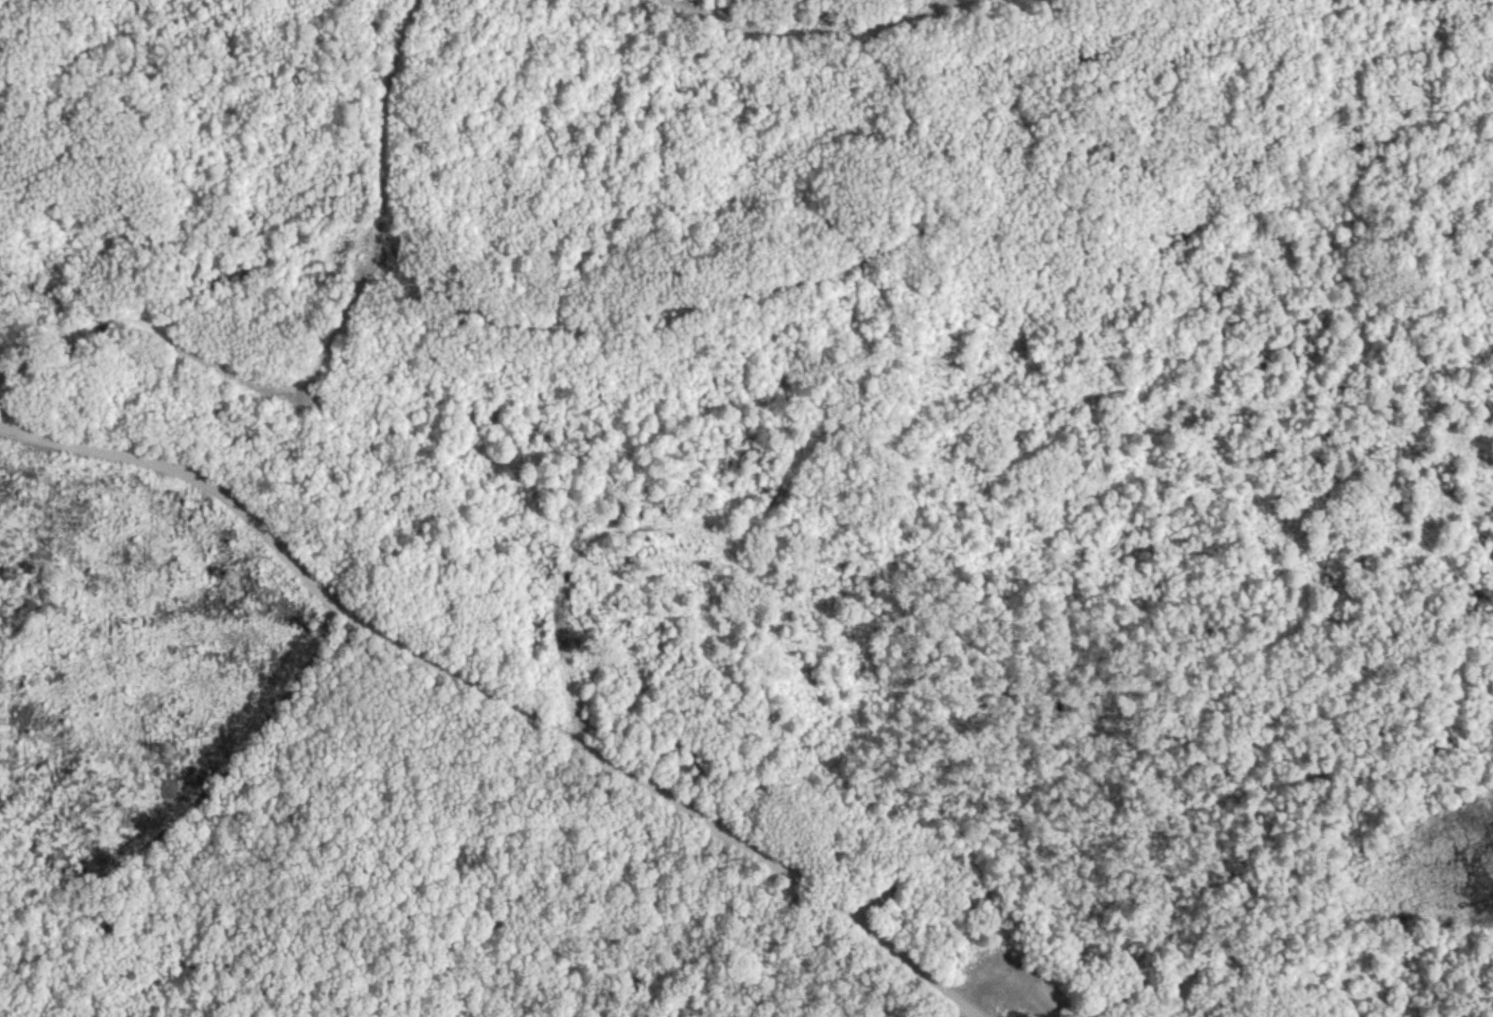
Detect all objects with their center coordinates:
road: (813, 28)
road: (325, 351)
road: (496, 697)

